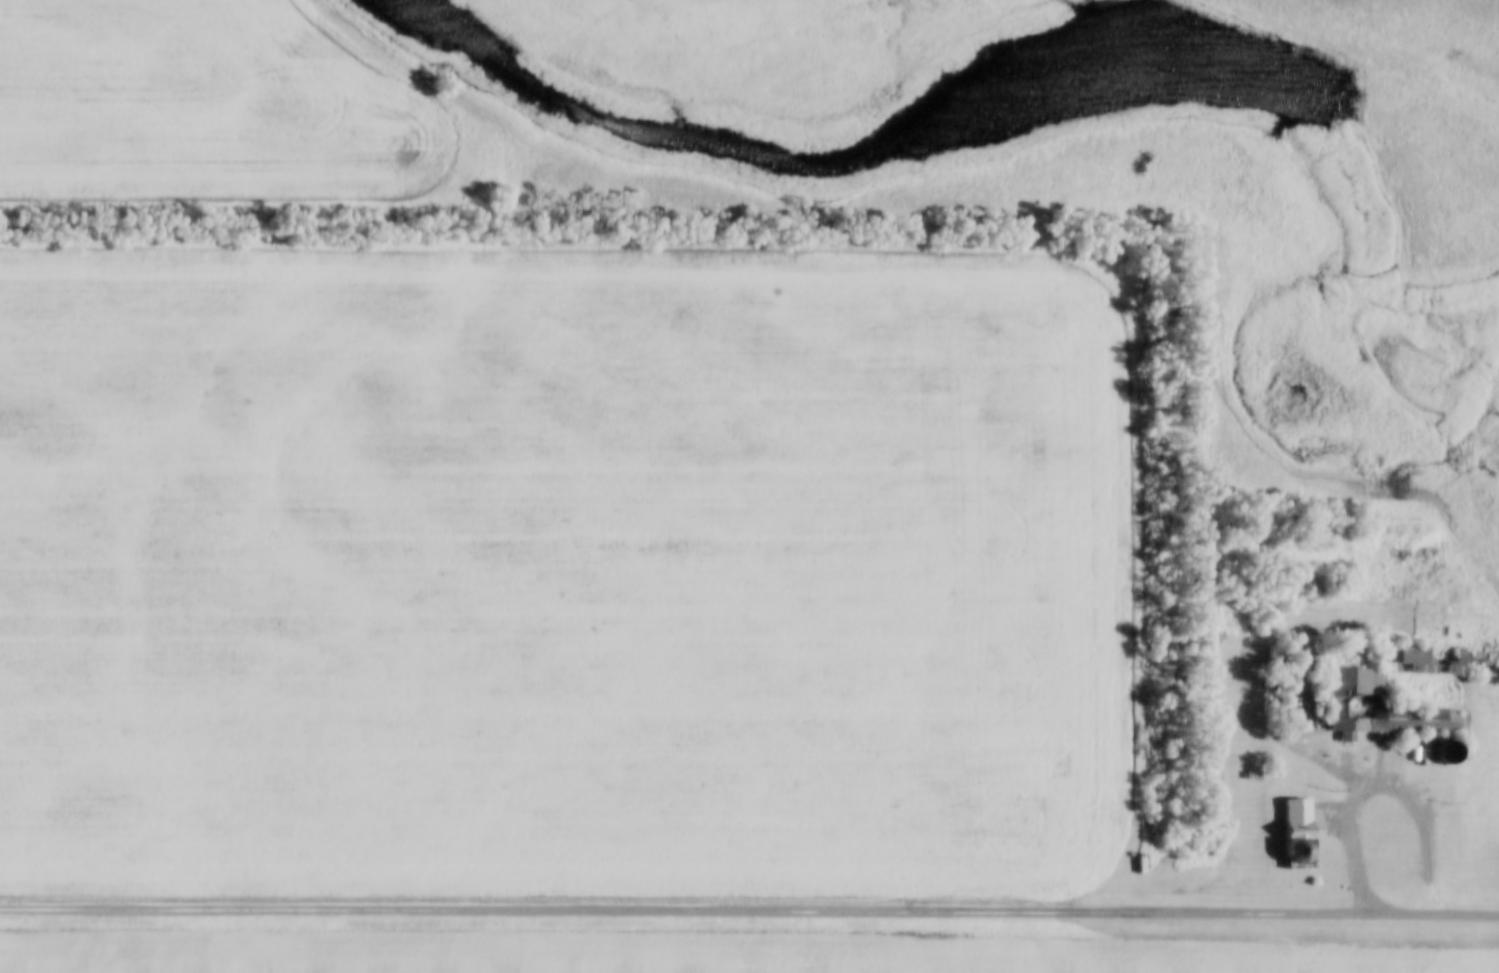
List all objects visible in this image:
building: (1431, 659)
building: (1484, 661)
building: (1351, 700)
road: (1382, 766)
building: (1295, 830)
road: (679, 905)
road: (1429, 908)

